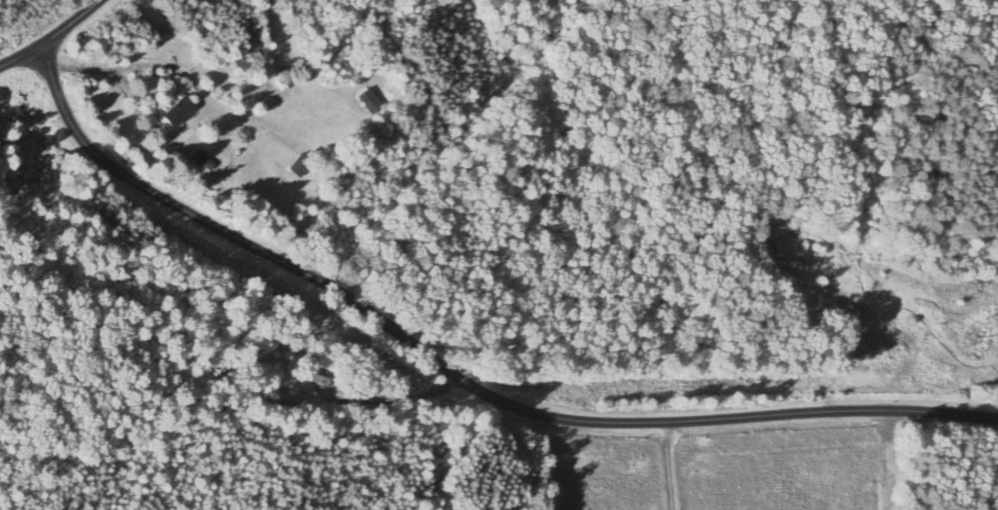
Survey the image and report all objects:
road: (66, 25)
building: (371, 102)
building: (180, 114)
building: (205, 162)
building: (300, 168)
road: (443, 362)
road: (889, 460)
road: (669, 466)

